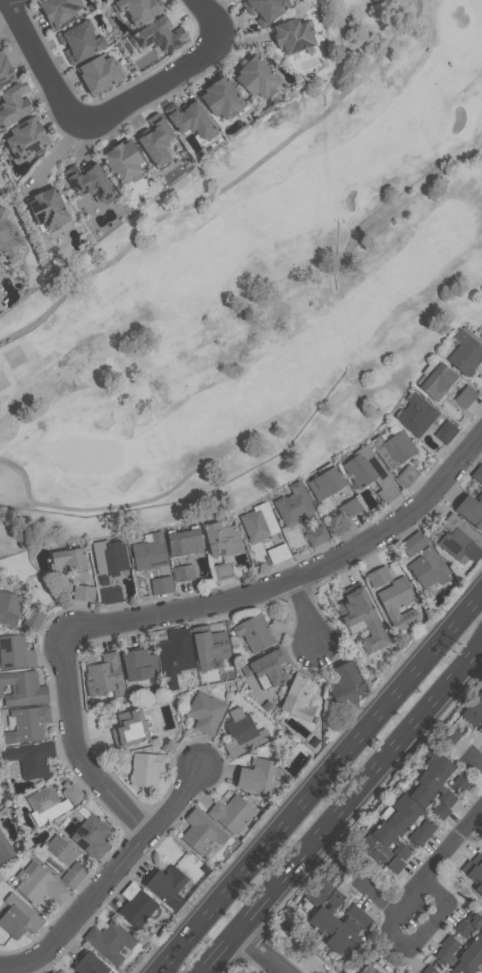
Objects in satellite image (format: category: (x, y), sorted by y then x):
building: (138, 9)
building: (264, 9)
building: (59, 10)
building: (157, 34)
building: (292, 35)
building: (80, 41)
road: (45, 61)
building: (5, 70)
building: (98, 73)
road: (174, 76)
building: (256, 76)
building: (221, 97)
building: (13, 103)
building: (189, 118)
building: (26, 138)
building: (155, 140)
building: (123, 161)
building: (90, 182)
building: (47, 207)
building: (8, 238)
park: (260, 288)
road: (35, 324)
building: (466, 353)
building: (438, 380)
building: (466, 395)
building: (417, 413)
building: (446, 431)
building: (394, 447)
building: (370, 473)
building: (477, 473)
building: (327, 482)
building: (294, 504)
building: (350, 507)
building: (471, 509)
building: (259, 522)
building: (317, 535)
building: (457, 537)
building: (223, 539)
building: (185, 541)
building: (414, 542)
building: (151, 551)
building: (279, 552)
building: (111, 557)
building: (69, 560)
building: (428, 567)
building: (184, 572)
road: (296, 576)
building: (162, 584)
building: (84, 592)
building: (112, 594)
building: (395, 597)
building: (10, 607)
road: (305, 613)
building: (361, 616)
building: (253, 633)
building: (209, 648)
building: (175, 649)
building: (15, 653)
building: (138, 665)
building: (266, 667)
building: (104, 676)
building: (344, 682)
building: (23, 689)
building: (300, 698)
building: (205, 712)
building: (464, 722)
building: (28, 723)
building: (479, 727)
building: (128, 728)
building: (241, 733)
road: (75, 745)
building: (30, 759)
building: (146, 769)
building: (443, 769)
building: (255, 775)
road: (319, 782)
building: (434, 786)
building: (73, 791)
building: (43, 799)
building: (429, 802)
road: (343, 810)
building: (230, 814)
building: (413, 814)
building: (404, 828)
building: (423, 831)
building: (201, 832)
building: (91, 836)
building: (389, 840)
road: (451, 844)
building: (4, 849)
building: (56, 853)
building: (379, 853)
building: (477, 860)
building: (74, 873)
building: (473, 874)
road: (108, 877)
building: (328, 879)
building: (164, 882)
building: (38, 884)
building: (134, 906)
building: (323, 910)
building: (17, 917)
building: (474, 918)
building: (338, 925)
building: (350, 935)
building: (469, 936)
building: (109, 940)
road: (410, 950)
road: (262, 952)
building: (462, 953)
building: (448, 962)
building: (89, 964)
building: (431, 968)
building: (367, 969)
building: (55, 971)
building: (250, 971)
building: (51, 972)
building: (247, 972)

